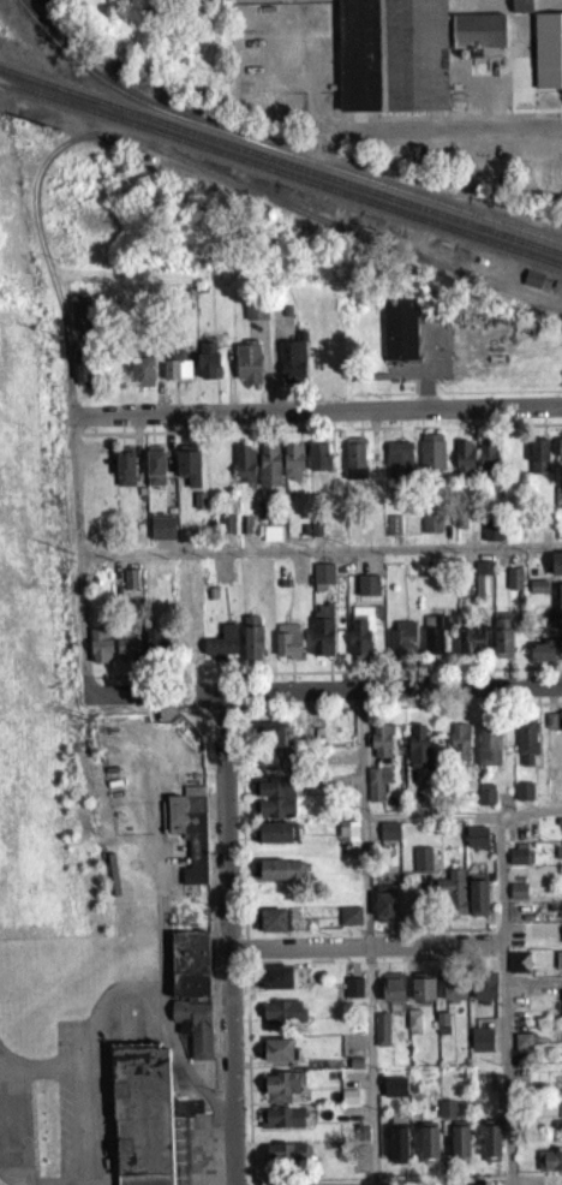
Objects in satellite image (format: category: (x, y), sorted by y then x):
building: (521, 11)
building: (402, 56)
railway: (77, 58)
building: (548, 58)
road: (460, 125)
railway: (281, 163)
railway: (352, 171)
railway: (281, 174)
building: (532, 286)
building: (255, 317)
building: (79, 320)
building: (399, 337)
building: (208, 368)
building: (292, 369)
building: (247, 370)
building: (84, 374)
building: (177, 374)
building: (142, 379)
road: (322, 409)
building: (560, 458)
building: (431, 459)
building: (488, 462)
building: (538, 463)
building: (318, 464)
building: (354, 465)
building: (464, 465)
building: (399, 466)
building: (292, 469)
building: (187, 471)
building: (244, 471)
building: (155, 472)
building: (269, 472)
building: (125, 474)
building: (557, 502)
building: (431, 530)
building: (227, 531)
building: (393, 532)
building: (162, 535)
building: (492, 537)
road: (77, 554)
road: (319, 556)
building: (556, 571)
building: (323, 583)
building: (482, 585)
building: (514, 585)
building: (130, 586)
building: (367, 592)
building: (538, 594)
building: (560, 614)
building: (322, 637)
building: (360, 639)
building: (434, 641)
building: (502, 644)
building: (252, 645)
building: (402, 645)
building: (156, 648)
building: (222, 648)
building: (287, 648)
building: (471, 648)
building: (100, 654)
building: (127, 655)
building: (544, 657)
road: (330, 690)
building: (561, 726)
building: (550, 728)
building: (271, 742)
building: (381, 748)
building: (527, 750)
building: (489, 751)
building: (459, 752)
building: (418, 754)
road: (361, 756)
building: (275, 767)
building: (377, 790)
building: (522, 798)
building: (485, 802)
building: (275, 804)
road: (372, 817)
building: (190, 838)
building: (389, 838)
building: (275, 840)
building: (518, 864)
building: (421, 867)
building: (281, 877)
building: (518, 898)
building: (452, 899)
building: (478, 903)
building: (385, 910)
building: (349, 923)
building: (274, 927)
road: (228, 937)
road: (364, 946)
building: (558, 966)
road: (501, 967)
building: (519, 969)
building: (276, 984)
road: (127, 985)
building: (453, 993)
building: (353, 994)
building: (393, 994)
building: (423, 994)
building: (192, 996)
building: (484, 998)
building: (515, 1004)
building: (282, 1019)
building: (413, 1026)
building: (442, 1030)
building: (381, 1036)
building: (480, 1047)
building: (522, 1049)
building: (277, 1058)
road: (370, 1065)
building: (282, 1094)
building: (394, 1094)
building: (349, 1104)
building: (193, 1114)
building: (447, 1115)
building: (144, 1121)
building: (281, 1125)
building: (360, 1142)
building: (397, 1143)
building: (429, 1147)
building: (460, 1147)
building: (489, 1147)
building: (287, 1161)
building: (550, 1167)
road: (89, 1171)
road: (221, 1177)

